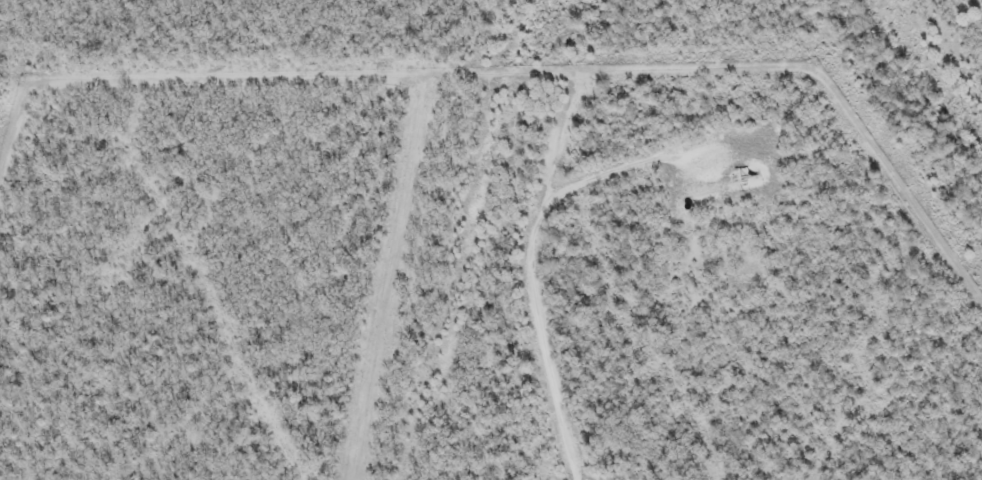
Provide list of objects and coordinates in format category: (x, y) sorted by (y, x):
road: (12, 22)
road: (557, 226)

